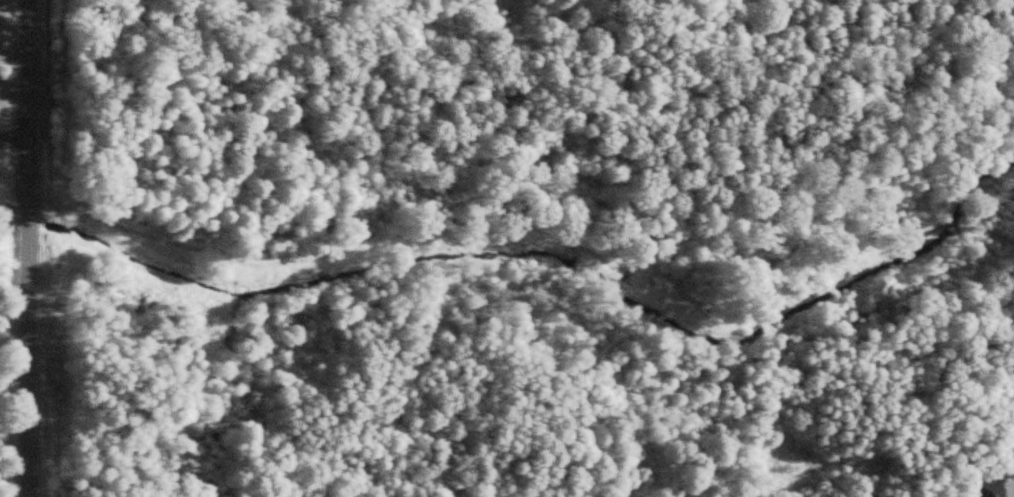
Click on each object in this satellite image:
road: (13, 150)
road: (26, 248)
road: (13, 431)
building: (998, 490)

